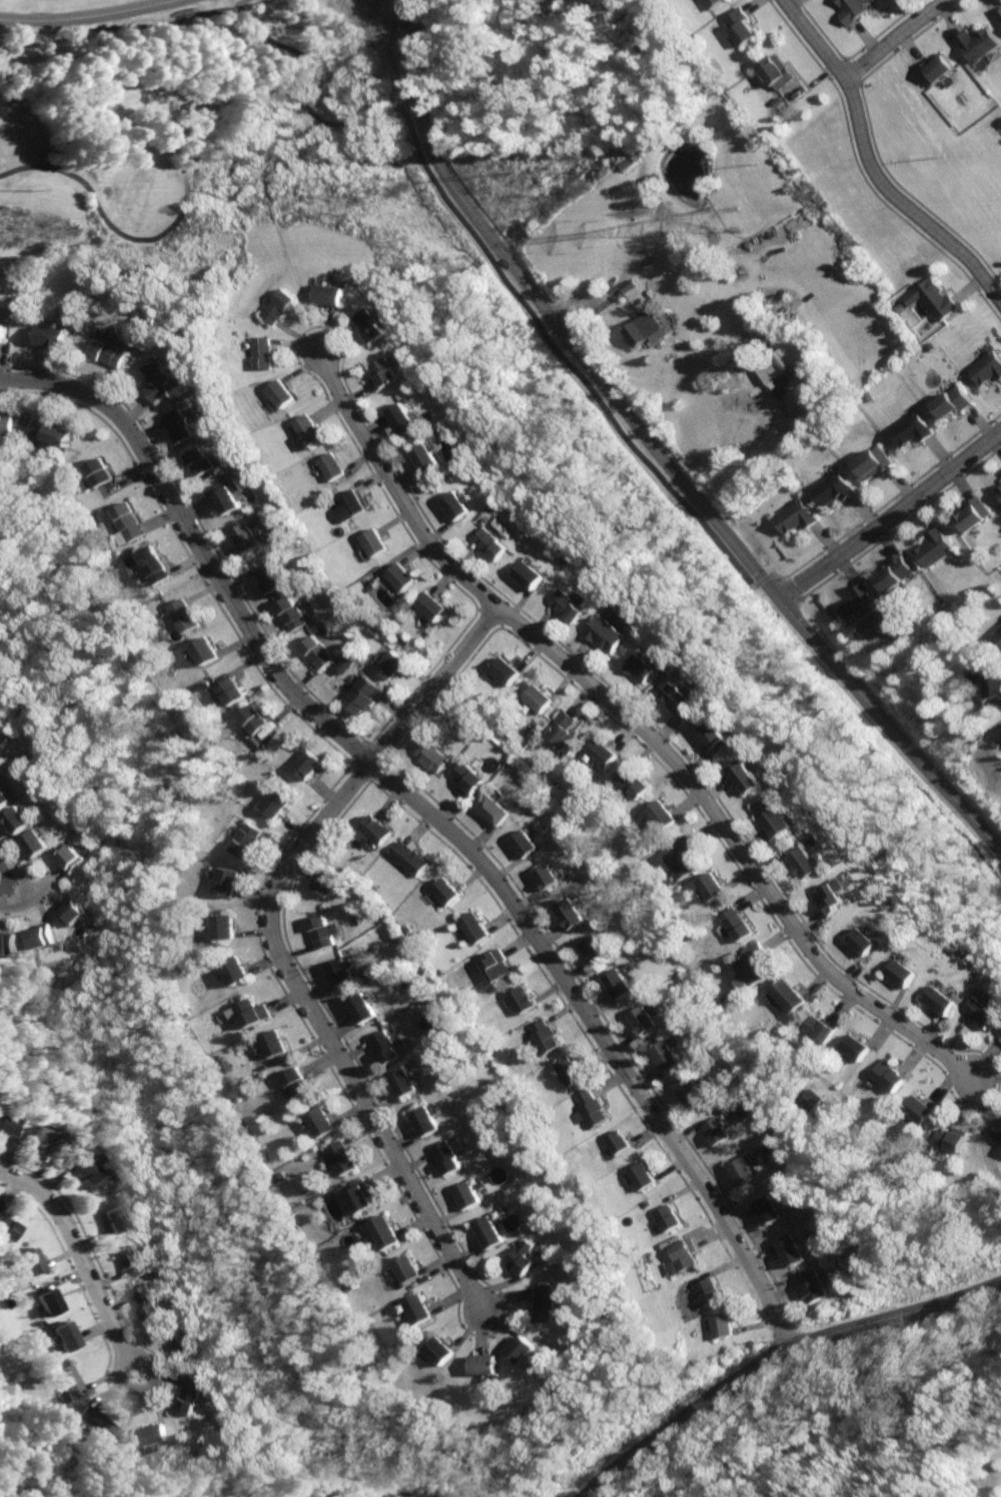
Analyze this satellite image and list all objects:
building: (710, 4)
road: (241, 6)
building: (859, 10)
building: (1000, 14)
road: (90, 17)
building: (741, 26)
road: (900, 40)
building: (984, 44)
building: (942, 70)
building: (778, 72)
road: (193, 86)
park: (225, 133)
road: (870, 166)
power tower: (729, 220)
building: (333, 294)
building: (931, 302)
building: (282, 305)
road: (530, 314)
building: (376, 324)
building: (644, 329)
building: (1, 331)
building: (47, 335)
building: (101, 352)
building: (264, 352)
building: (778, 360)
building: (985, 369)
building: (389, 374)
building: (152, 378)
building: (284, 392)
building: (948, 403)
building: (407, 419)
building: (5, 422)
building: (175, 427)
building: (309, 429)
building: (906, 430)
building: (52, 432)
road: (656, 454)
building: (430, 458)
building: (196, 461)
road: (749, 461)
building: (871, 464)
building: (331, 465)
building: (96, 471)
building: (830, 489)
building: (998, 493)
building: (223, 495)
building: (350, 506)
building: (461, 506)
road: (888, 514)
building: (971, 514)
building: (792, 517)
building: (126, 521)
building: (241, 537)
building: (374, 542)
building: (496, 544)
building: (932, 549)
building: (151, 564)
building: (893, 573)
building: (534, 575)
building: (399, 576)
road: (774, 576)
building: (265, 577)
road: (760, 579)
road: (788, 588)
building: (860, 603)
building: (429, 605)
building: (571, 605)
building: (286, 613)
building: (182, 615)
building: (609, 633)
building: (998, 636)
building: (203, 650)
building: (311, 652)
building: (391, 664)
building: (342, 665)
building: (646, 669)
building: (506, 671)
building: (995, 685)
building: (227, 691)
building: (359, 695)
building: (539, 697)
building: (685, 701)
building: (250, 720)
road: (638, 724)
building: (563, 729)
building: (722, 737)
building: (603, 753)
building: (431, 757)
building: (305, 764)
building: (751, 775)
building: (468, 780)
building: (633, 782)
building: (5, 798)
building: (275, 803)
building: (496, 811)
building: (664, 817)
road: (432, 818)
building: (779, 818)
building: (18, 821)
building: (376, 828)
building: (245, 840)
building: (36, 842)
building: (527, 844)
building: (410, 858)
building: (75, 859)
building: (808, 862)
building: (679, 863)
building: (553, 877)
road: (12, 880)
building: (226, 881)
building: (327, 881)
building: (713, 886)
building: (448, 890)
road: (39, 893)
building: (835, 897)
road: (9, 905)
building: (78, 911)
building: (574, 913)
building: (737, 924)
building: (223, 926)
building: (477, 928)
building: (317, 930)
building: (45, 934)
building: (9, 941)
building: (866, 941)
road: (273, 946)
building: (597, 948)
building: (498, 964)
building: (752, 964)
building: (235, 970)
building: (338, 971)
building: (905, 973)
building: (622, 984)
building: (787, 996)
building: (524, 999)
building: (943, 1000)
building: (358, 1007)
building: (251, 1012)
building: (987, 1012)
building: (645, 1019)
building: (819, 1029)
building: (545, 1037)
building: (273, 1042)
building: (379, 1046)
building: (853, 1047)
building: (668, 1055)
building: (570, 1070)
building: (886, 1075)
building: (295, 1083)
building: (401, 1083)
building: (693, 1091)
building: (810, 1100)
building: (917, 1109)
building: (590, 1110)
building: (422, 1120)
building: (320, 1121)
building: (4, 1124)
building: (717, 1130)
building: (997, 1135)
building: (37, 1138)
building: (949, 1138)
building: (618, 1142)
building: (444, 1158)
building: (340, 1159)
building: (79, 1170)
building: (742, 1170)
building: (641, 1176)
building: (465, 1194)
building: (358, 1195)
building: (763, 1210)
building: (111, 1217)
building: (665, 1218)
building: (8, 1227)
building: (383, 1231)
building: (486, 1232)
building: (785, 1250)
road: (77, 1254)
building: (680, 1254)
building: (130, 1257)
building: (519, 1258)
building: (32, 1261)
building: (669, 1268)
building: (404, 1269)
building: (805, 1286)
building: (703, 1291)
building: (52, 1301)
building: (152, 1303)
building: (543, 1304)
building: (416, 1309)
building: (719, 1325)
building: (69, 1334)
building: (189, 1339)
building: (521, 1348)
building: (439, 1351)
road: (775, 1356)
building: (483, 1362)
building: (73, 1381)
road: (146, 1389)
building: (195, 1394)
road: (935, 1398)
building: (100, 1420)
building: (154, 1434)

